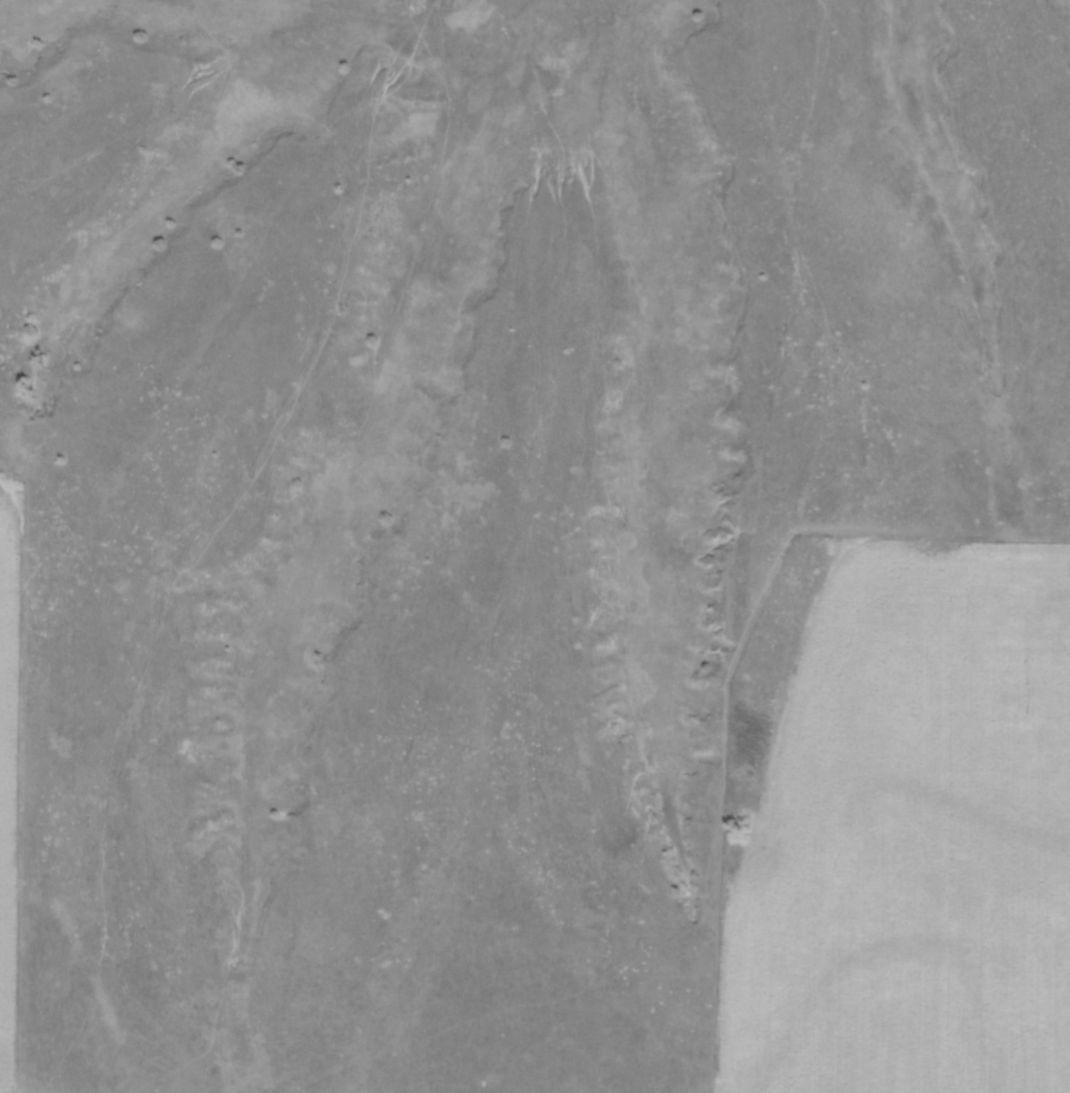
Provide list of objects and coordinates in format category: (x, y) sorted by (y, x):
crop: (914, 836)

